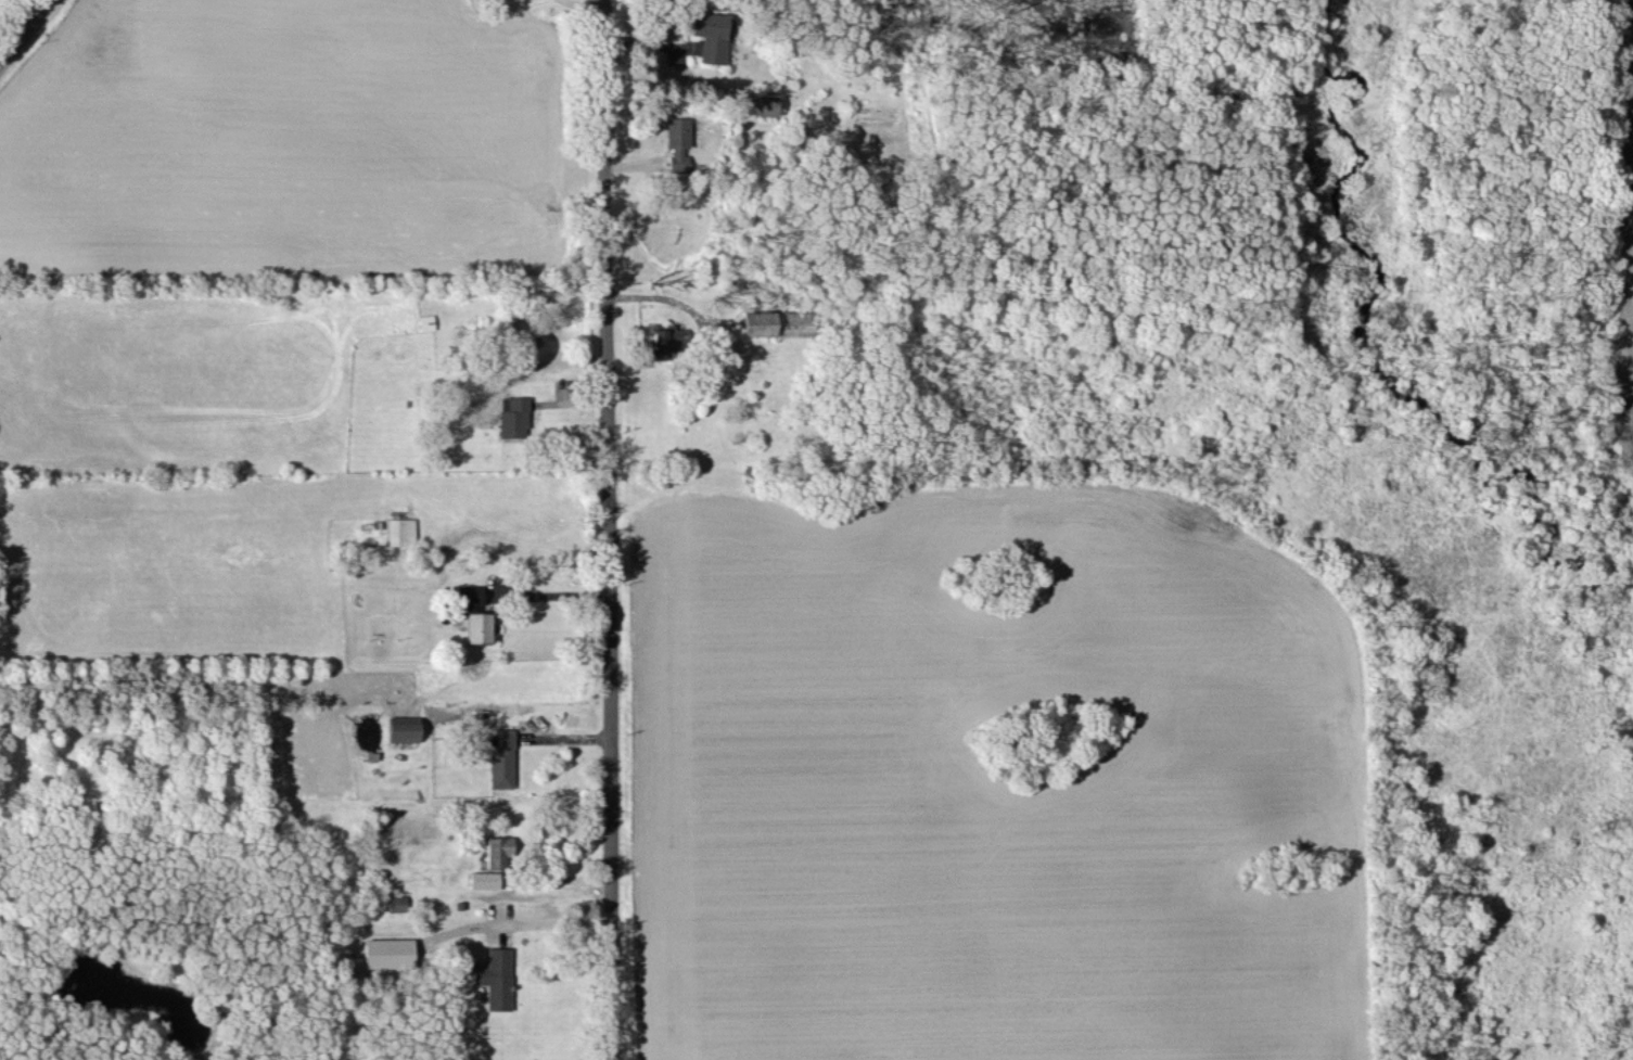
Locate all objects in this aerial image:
road: (21, 25)
building: (709, 35)
building: (765, 104)
building: (675, 142)
road: (666, 297)
building: (775, 322)
building: (664, 341)
building: (512, 416)
road: (602, 529)
building: (400, 531)
road: (548, 595)
building: (468, 596)
building: (476, 626)
building: (401, 727)
building: (500, 758)
building: (498, 852)
building: (483, 879)
building: (395, 902)
road: (550, 923)
building: (386, 952)
building: (494, 978)

